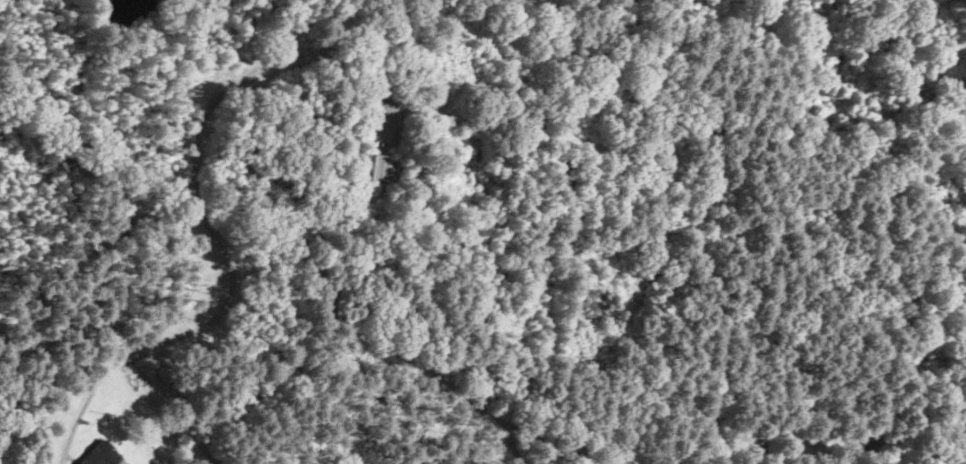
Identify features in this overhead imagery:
road: (366, 47)
building: (354, 158)
building: (469, 161)
building: (382, 170)
building: (586, 301)

